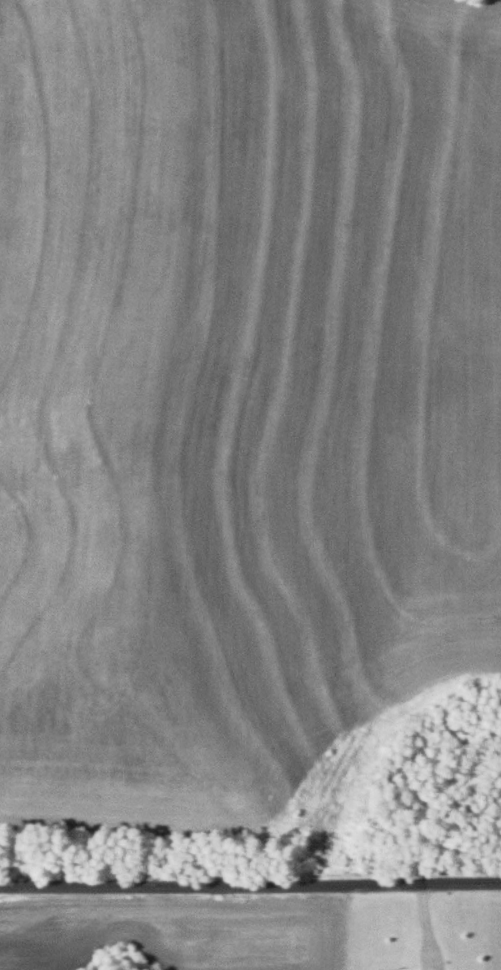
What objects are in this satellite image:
crop: (243, 402)
road: (250, 879)
crop: (176, 933)

